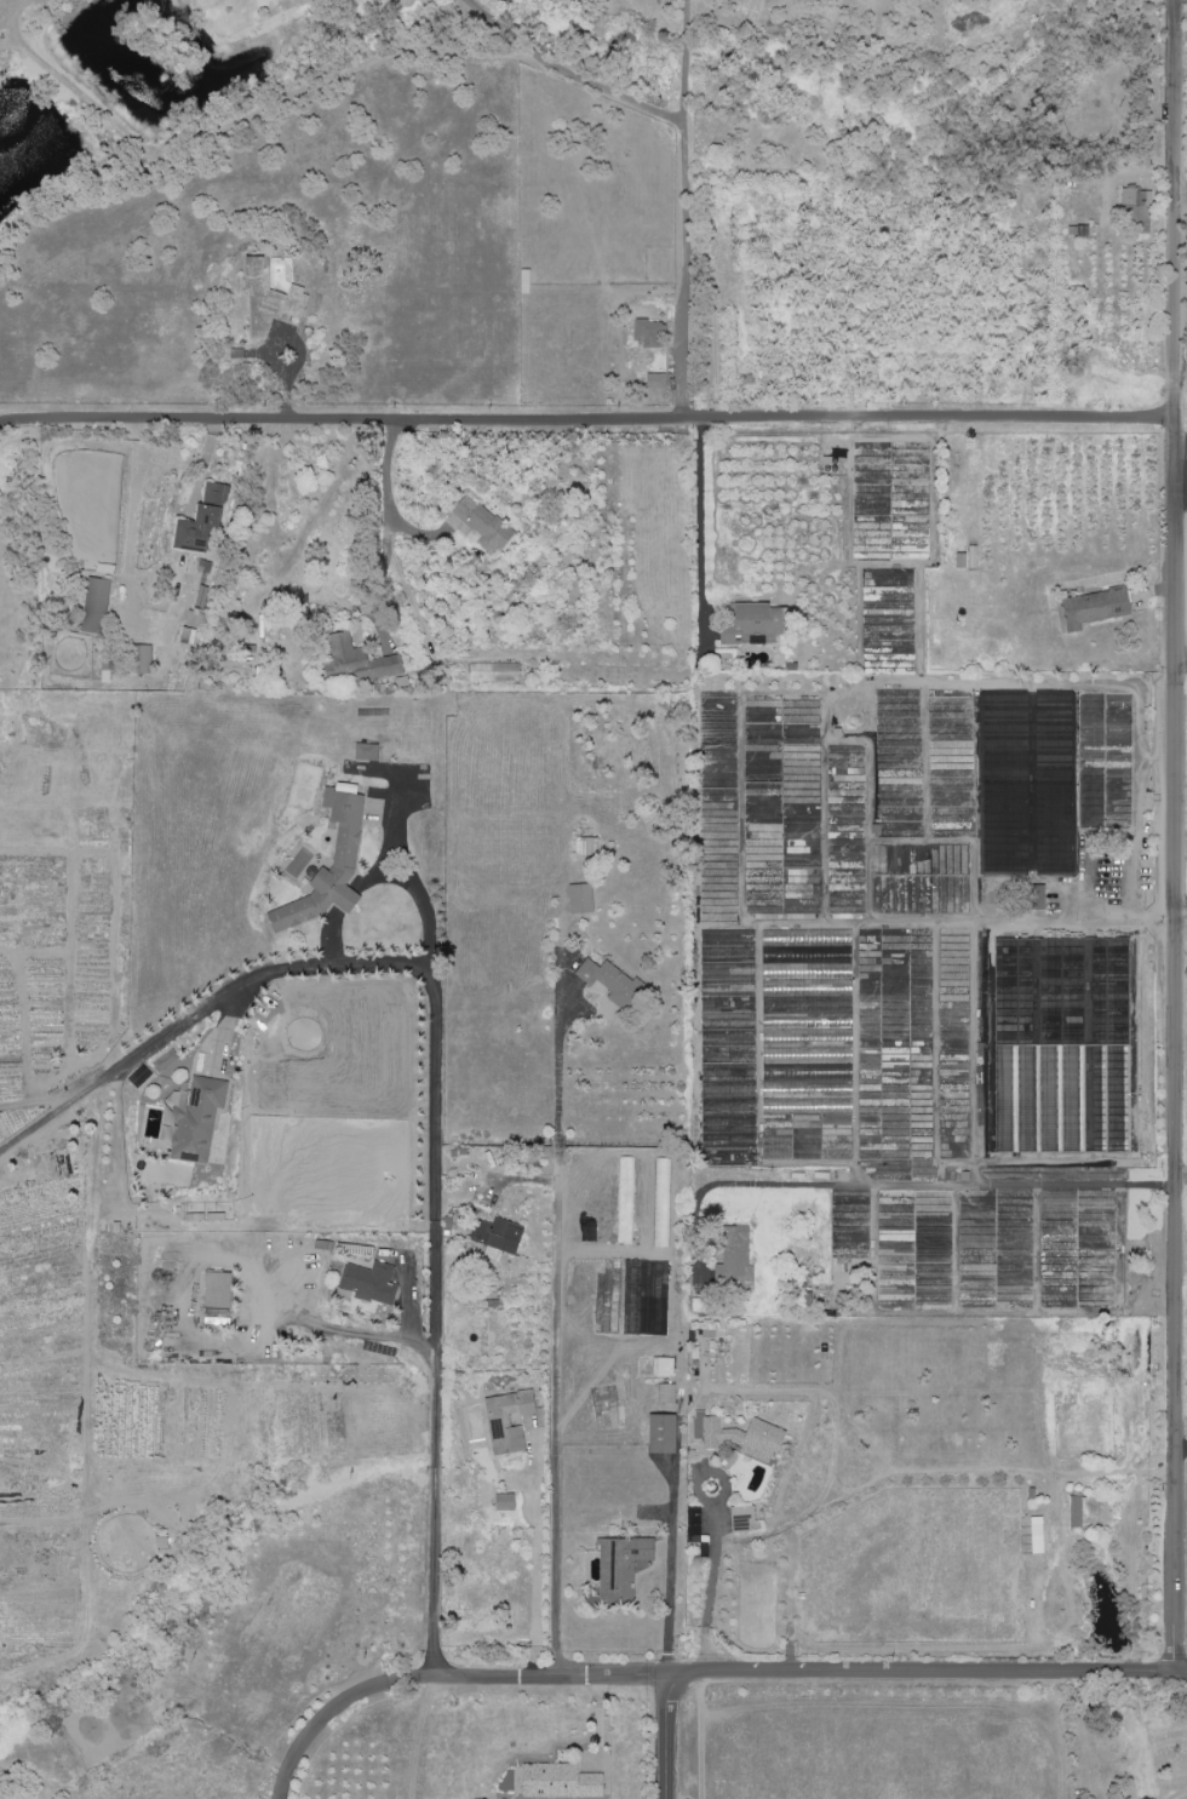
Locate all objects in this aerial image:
road: (504, 28)
road: (510, 53)
road: (1181, 189)
road: (682, 204)
building: (1137, 205)
building: (524, 282)
building: (268, 299)
building: (648, 333)
building: (655, 382)
road: (342, 412)
road: (927, 419)
road: (1182, 440)
road: (385, 521)
road: (1181, 521)
building: (202, 522)
building: (482, 523)
road: (701, 523)
building: (967, 558)
building: (94, 606)
building: (1095, 608)
building: (193, 619)
building: (185, 635)
building: (142, 659)
building: (357, 661)
building: (493, 672)
road: (1181, 672)
building: (366, 751)
road: (1139, 821)
road: (1176, 838)
building: (345, 844)
building: (580, 898)
building: (1036, 898)
road: (424, 900)
road: (1123, 919)
road: (1181, 929)
building: (609, 982)
road: (1181, 1050)
road: (127, 1061)
building: (195, 1119)
road: (954, 1184)
road: (437, 1221)
building: (497, 1234)
building: (735, 1254)
road: (234, 1268)
building: (369, 1283)
building: (217, 1299)
road: (554, 1346)
building: (663, 1367)
building: (666, 1393)
building: (508, 1421)
building: (663, 1433)
building: (739, 1437)
road: (1181, 1446)
road: (917, 1477)
building: (505, 1502)
building: (1076, 1512)
building: (742, 1514)
building: (1037, 1535)
building: (620, 1566)
road: (671, 1574)
road: (711, 1582)
road: (531, 1675)
road: (928, 1677)
road: (320, 1724)
road: (669, 1737)
building: (560, 1782)

